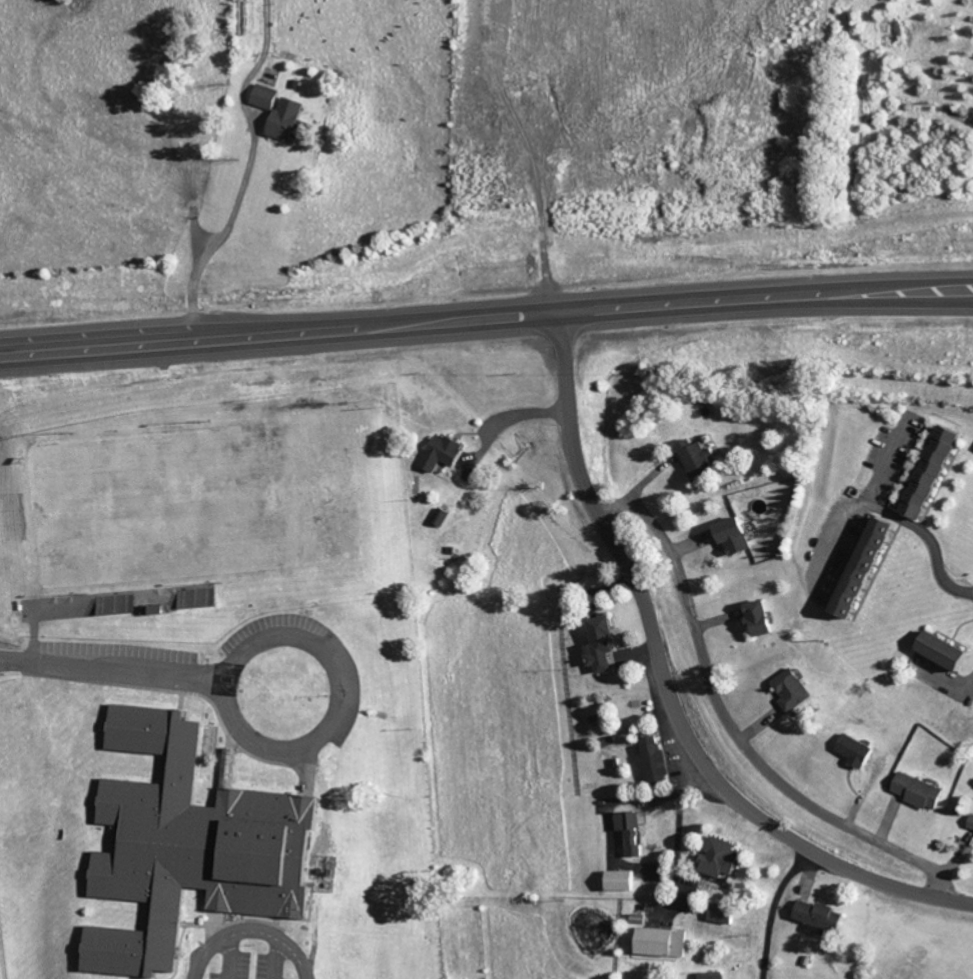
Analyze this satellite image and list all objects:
building: (268, 96)
building: (292, 120)
road: (486, 316)
road: (506, 419)
building: (447, 452)
building: (700, 460)
building: (936, 471)
road: (856, 503)
park: (157, 506)
building: (445, 516)
building: (737, 536)
road: (931, 539)
building: (869, 565)
building: (762, 617)
building: (605, 644)
building: (950, 650)
road: (112, 668)
road: (340, 682)
road: (668, 685)
building: (795, 689)
road: (735, 723)
building: (861, 751)
building: (658, 762)
building: (922, 791)
building: (972, 826)
building: (633, 832)
building: (195, 846)
building: (724, 858)
building: (623, 881)
road: (775, 907)
building: (726, 914)
building: (826, 918)
road: (252, 930)
building: (665, 942)
building: (717, 975)

